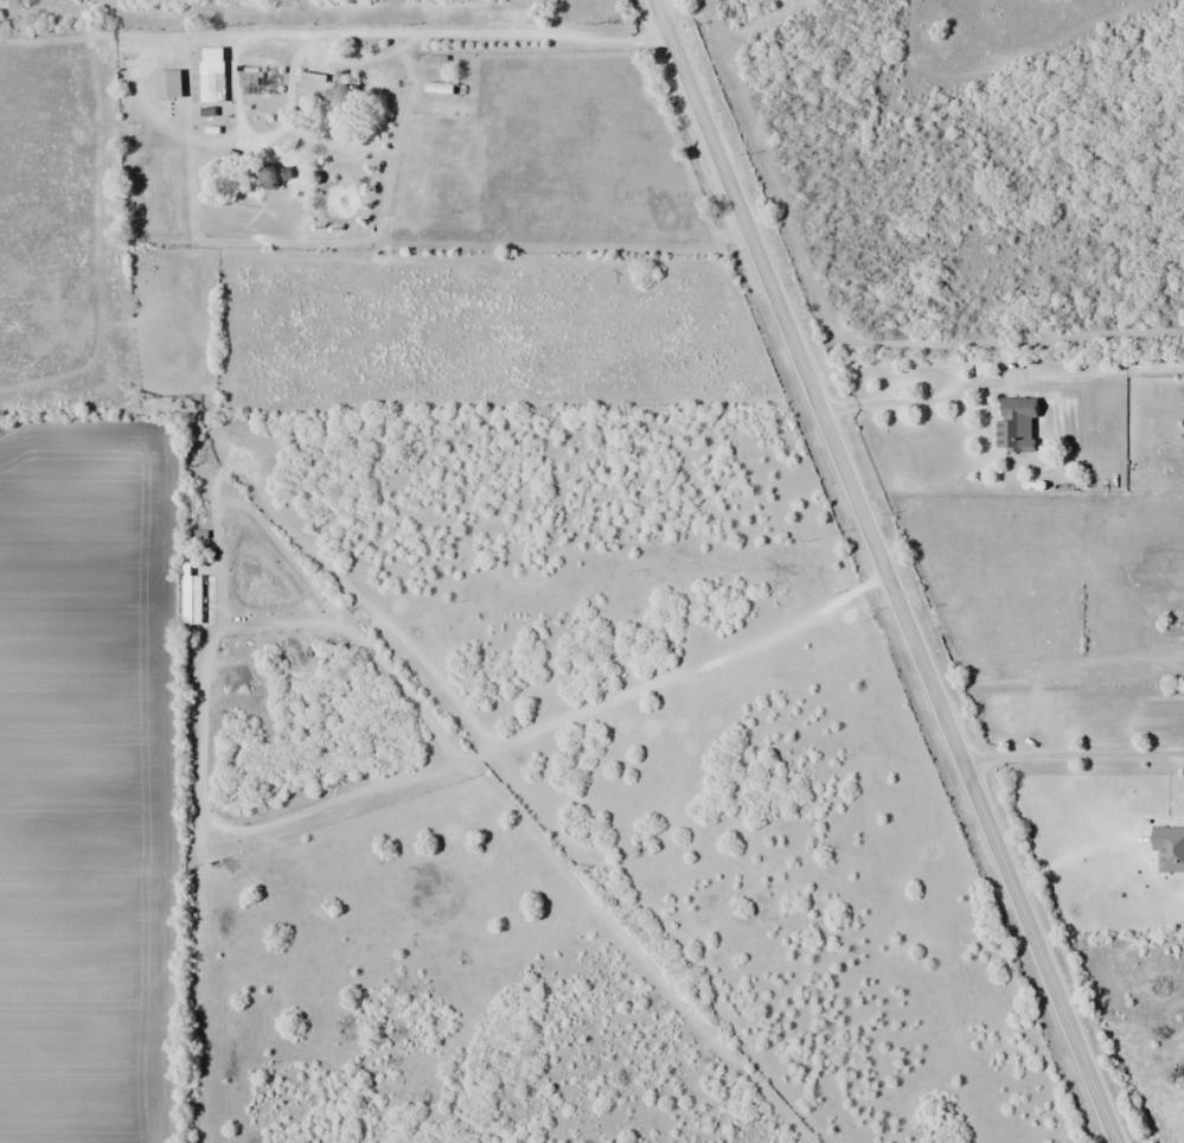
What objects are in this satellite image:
road: (339, 27)
building: (269, 52)
building: (439, 58)
building: (212, 77)
building: (172, 83)
building: (331, 88)
road: (909, 397)
building: (1020, 423)
road: (890, 570)
road: (1073, 749)
road: (1088, 807)

